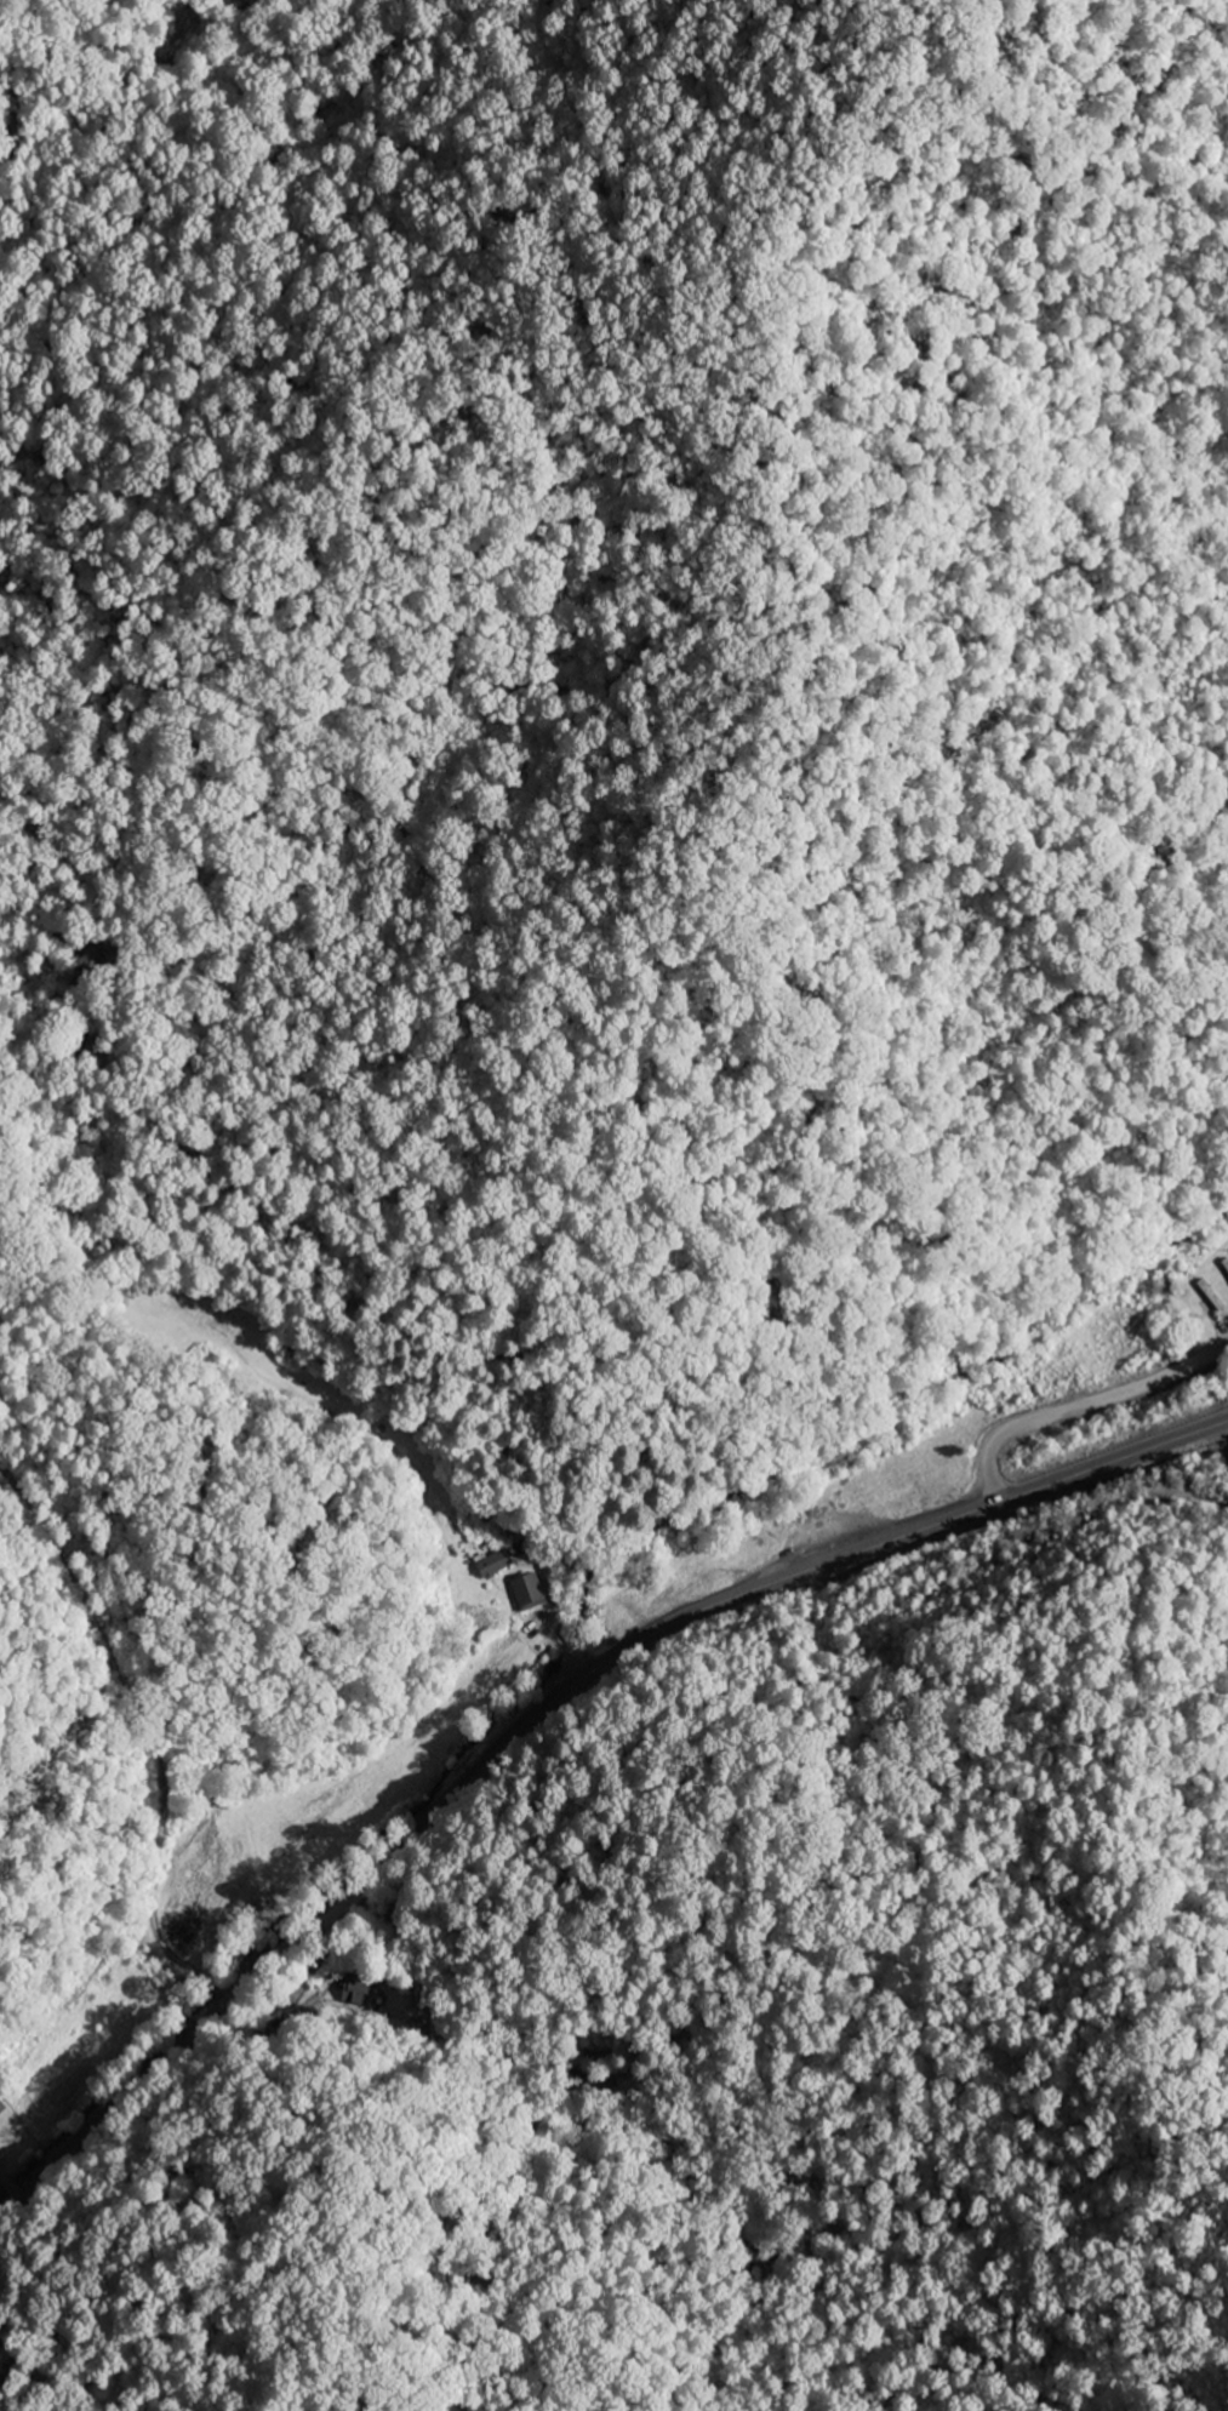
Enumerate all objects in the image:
road: (1084, 1402)
building: (493, 1565)
building: (527, 1593)
road: (543, 1707)

